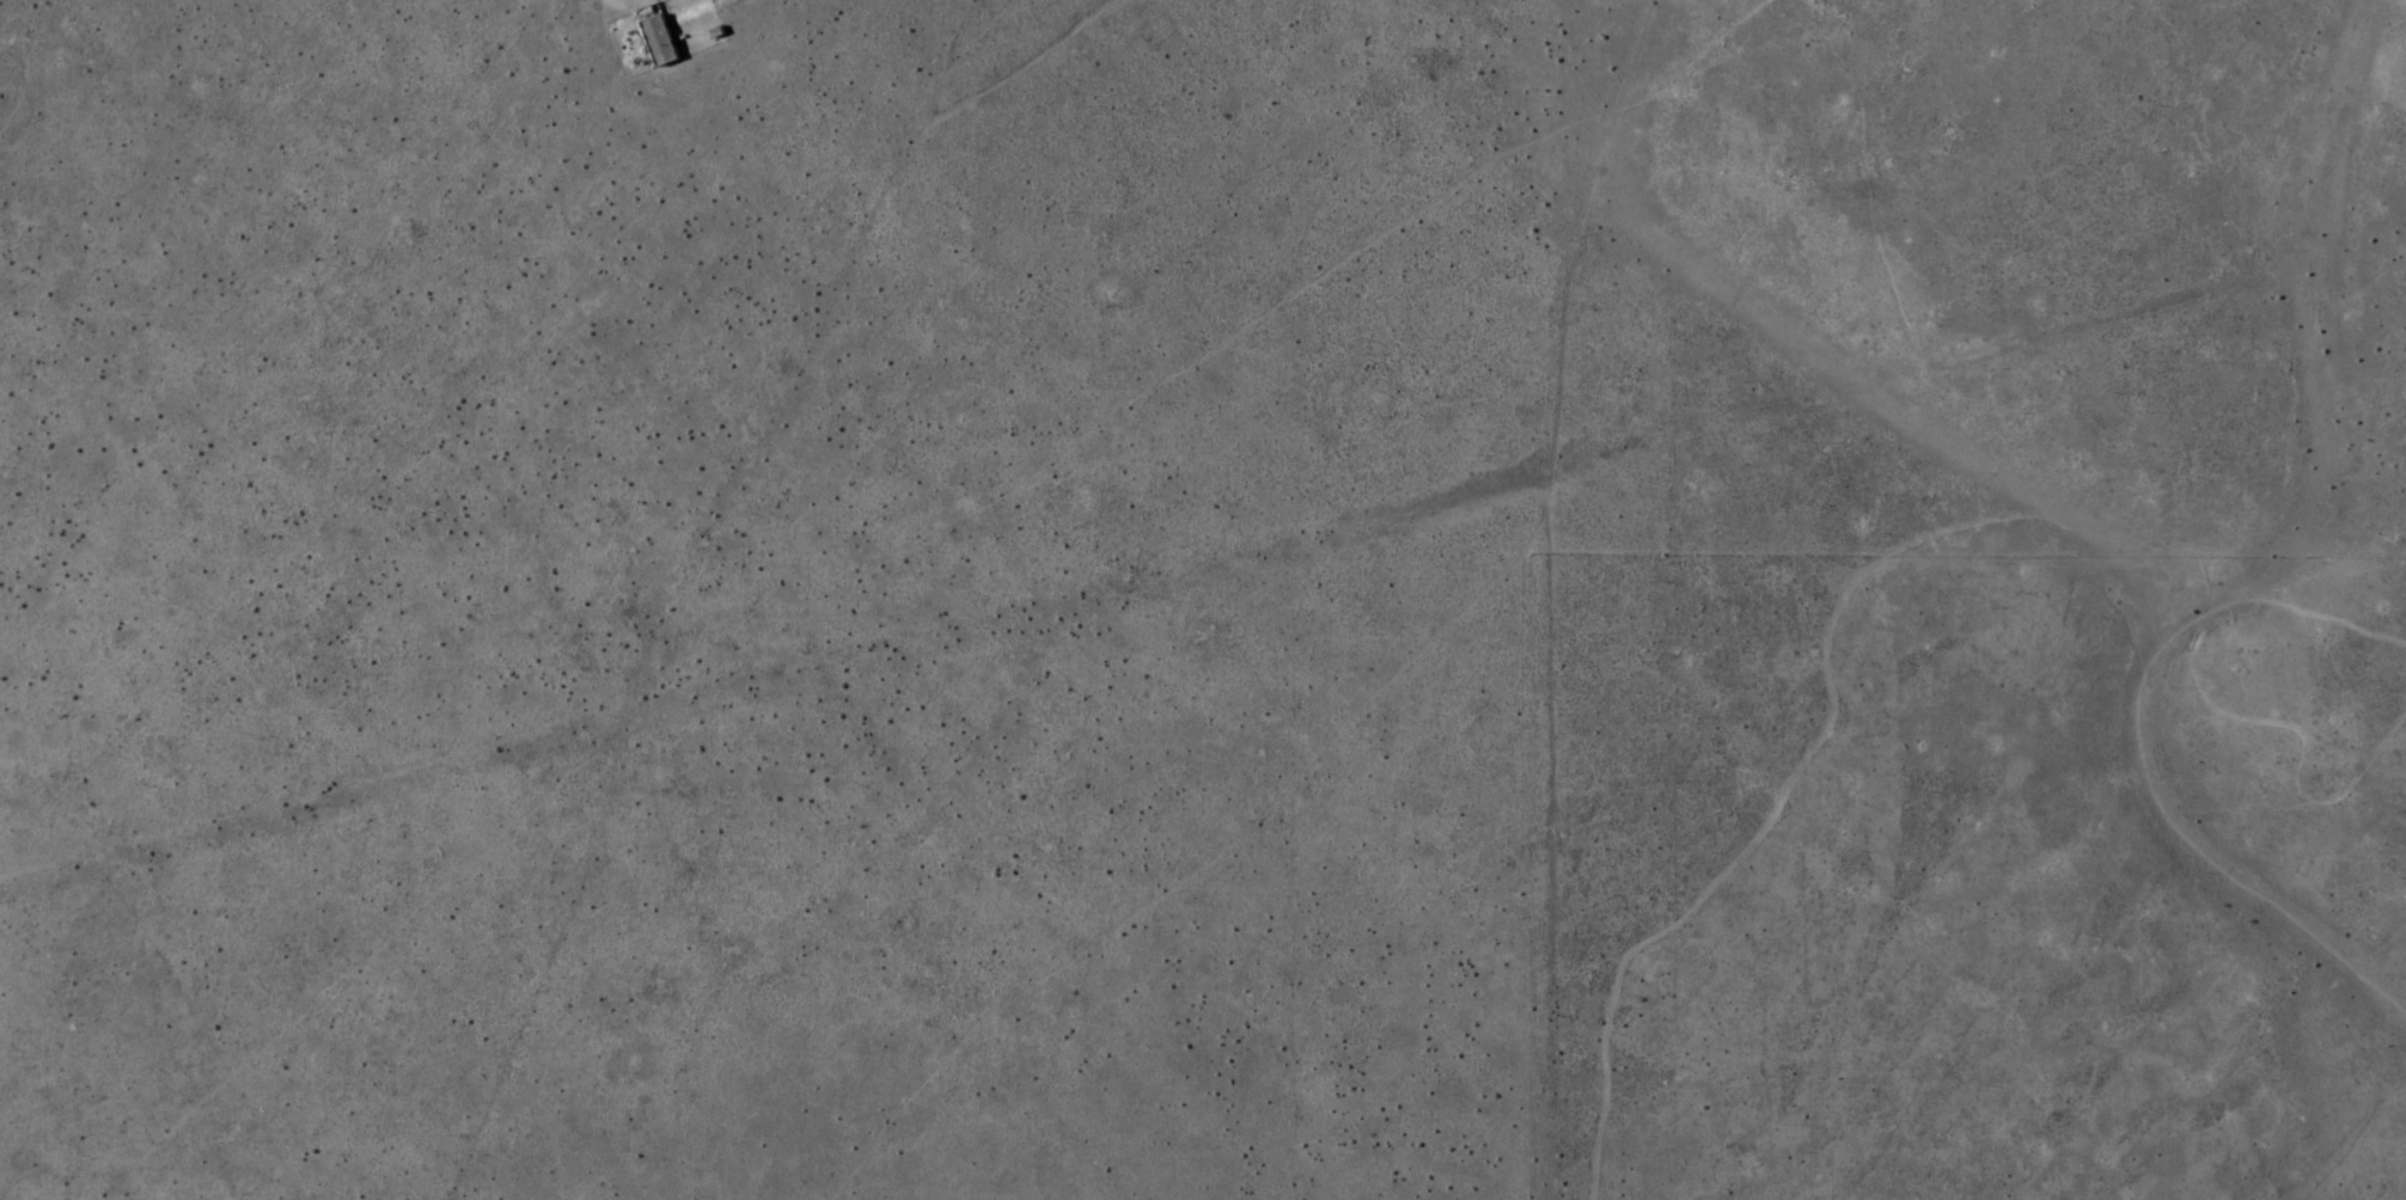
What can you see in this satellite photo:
building: (659, 41)

